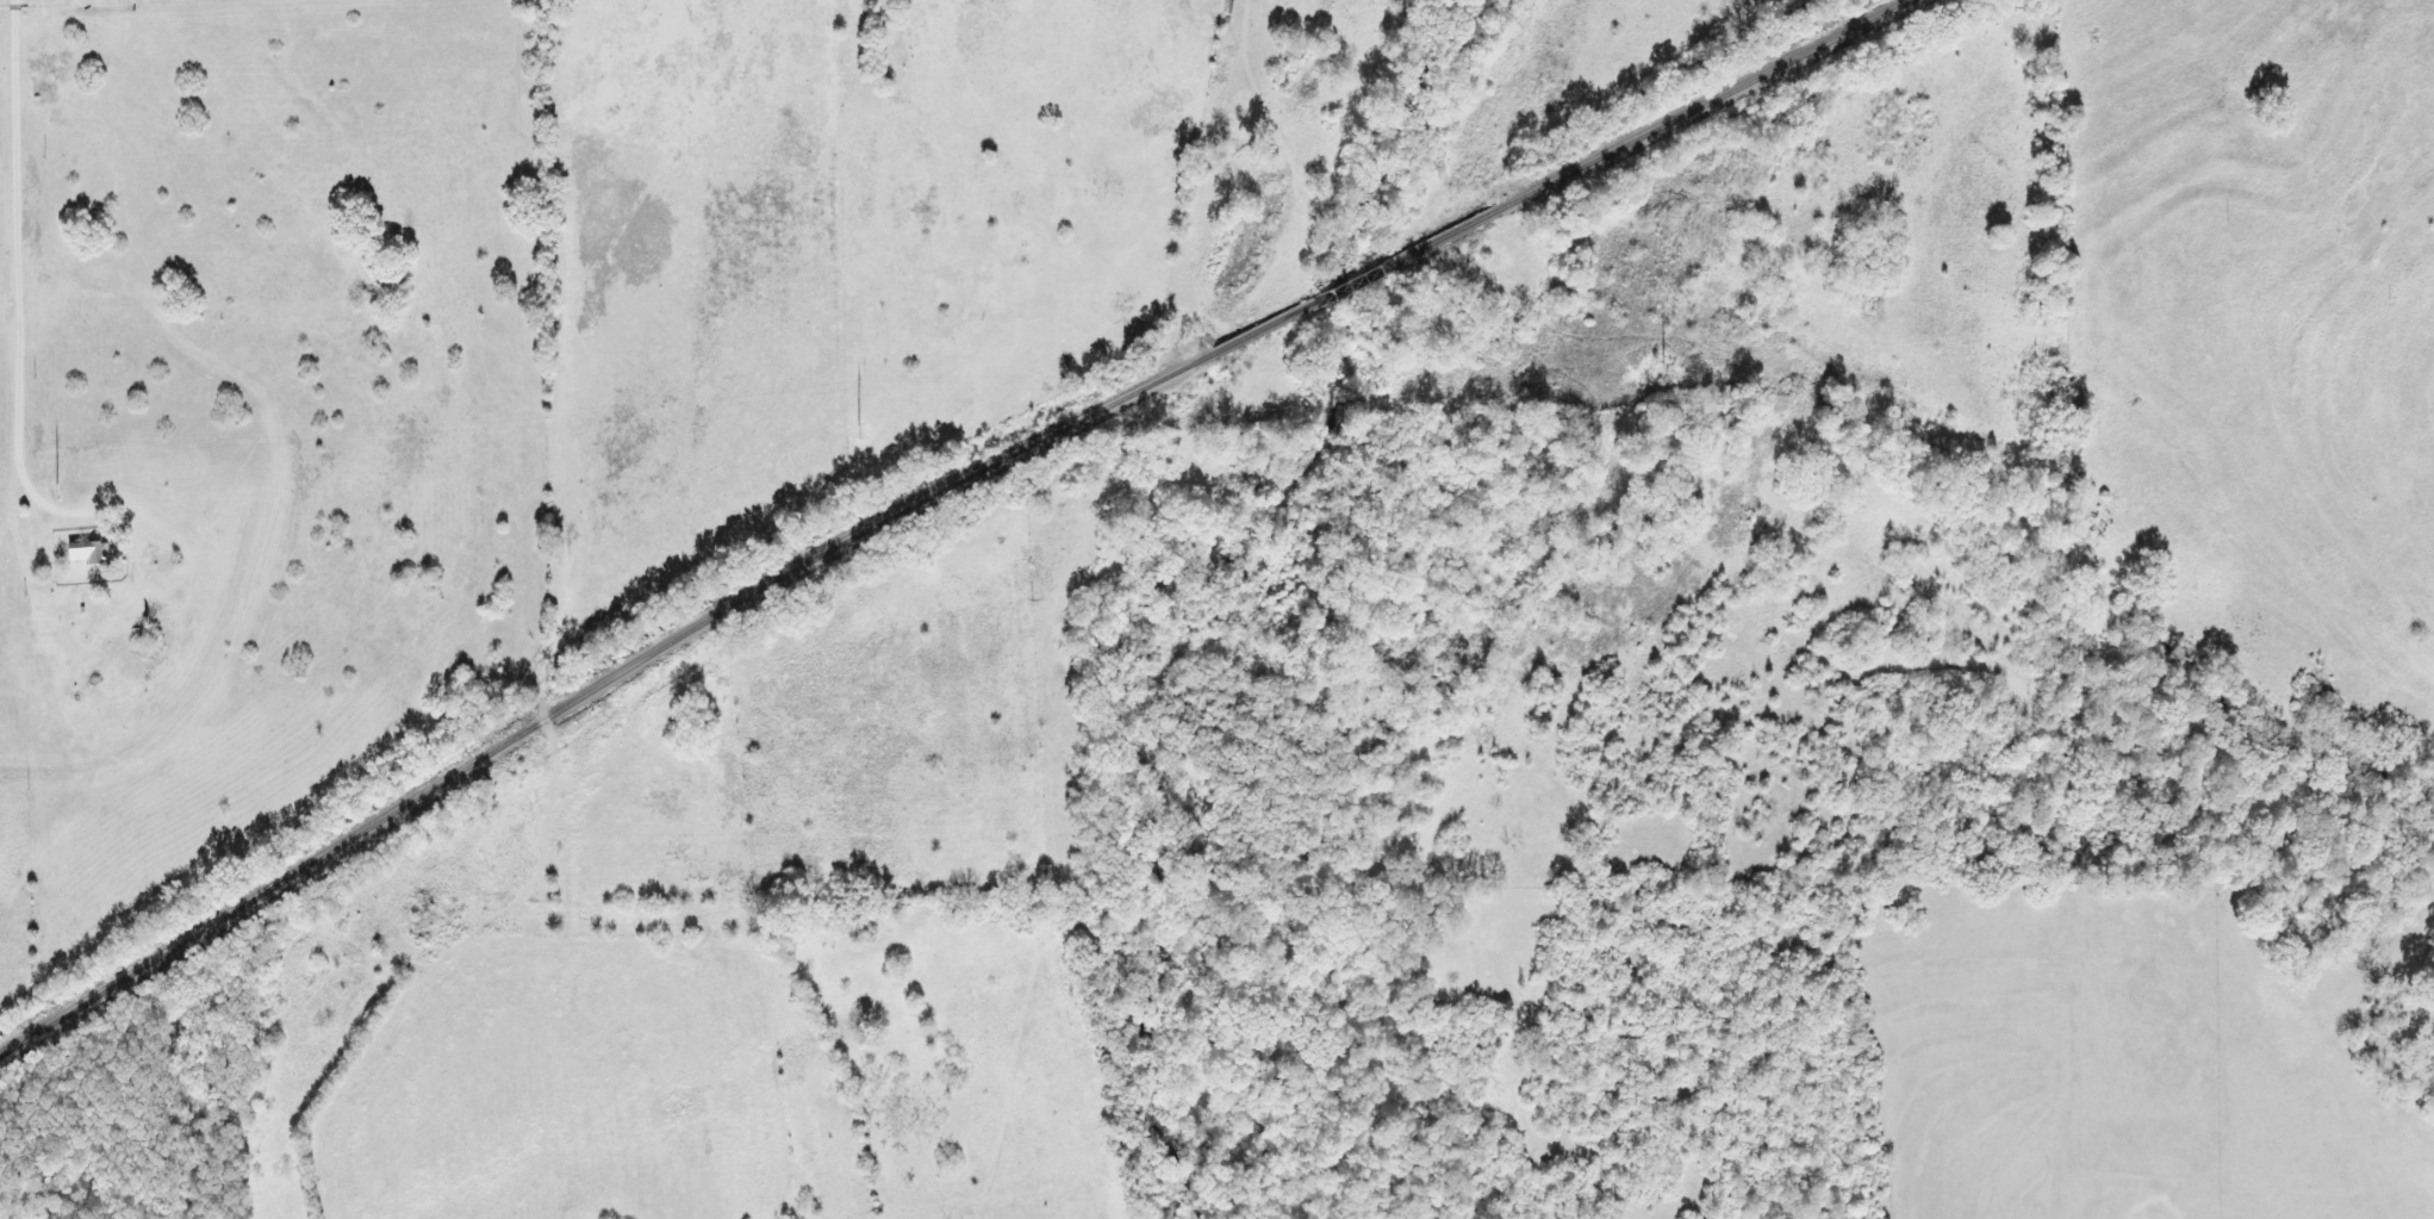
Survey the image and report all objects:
railway: (1711, 100)
road: (17, 265)
railway: (1352, 282)
power tower: (1661, 369)
power tower: (867, 428)
power tower: (56, 491)
building: (87, 552)
road: (540, 683)
railway: (585, 692)
road: (2345, 1057)

